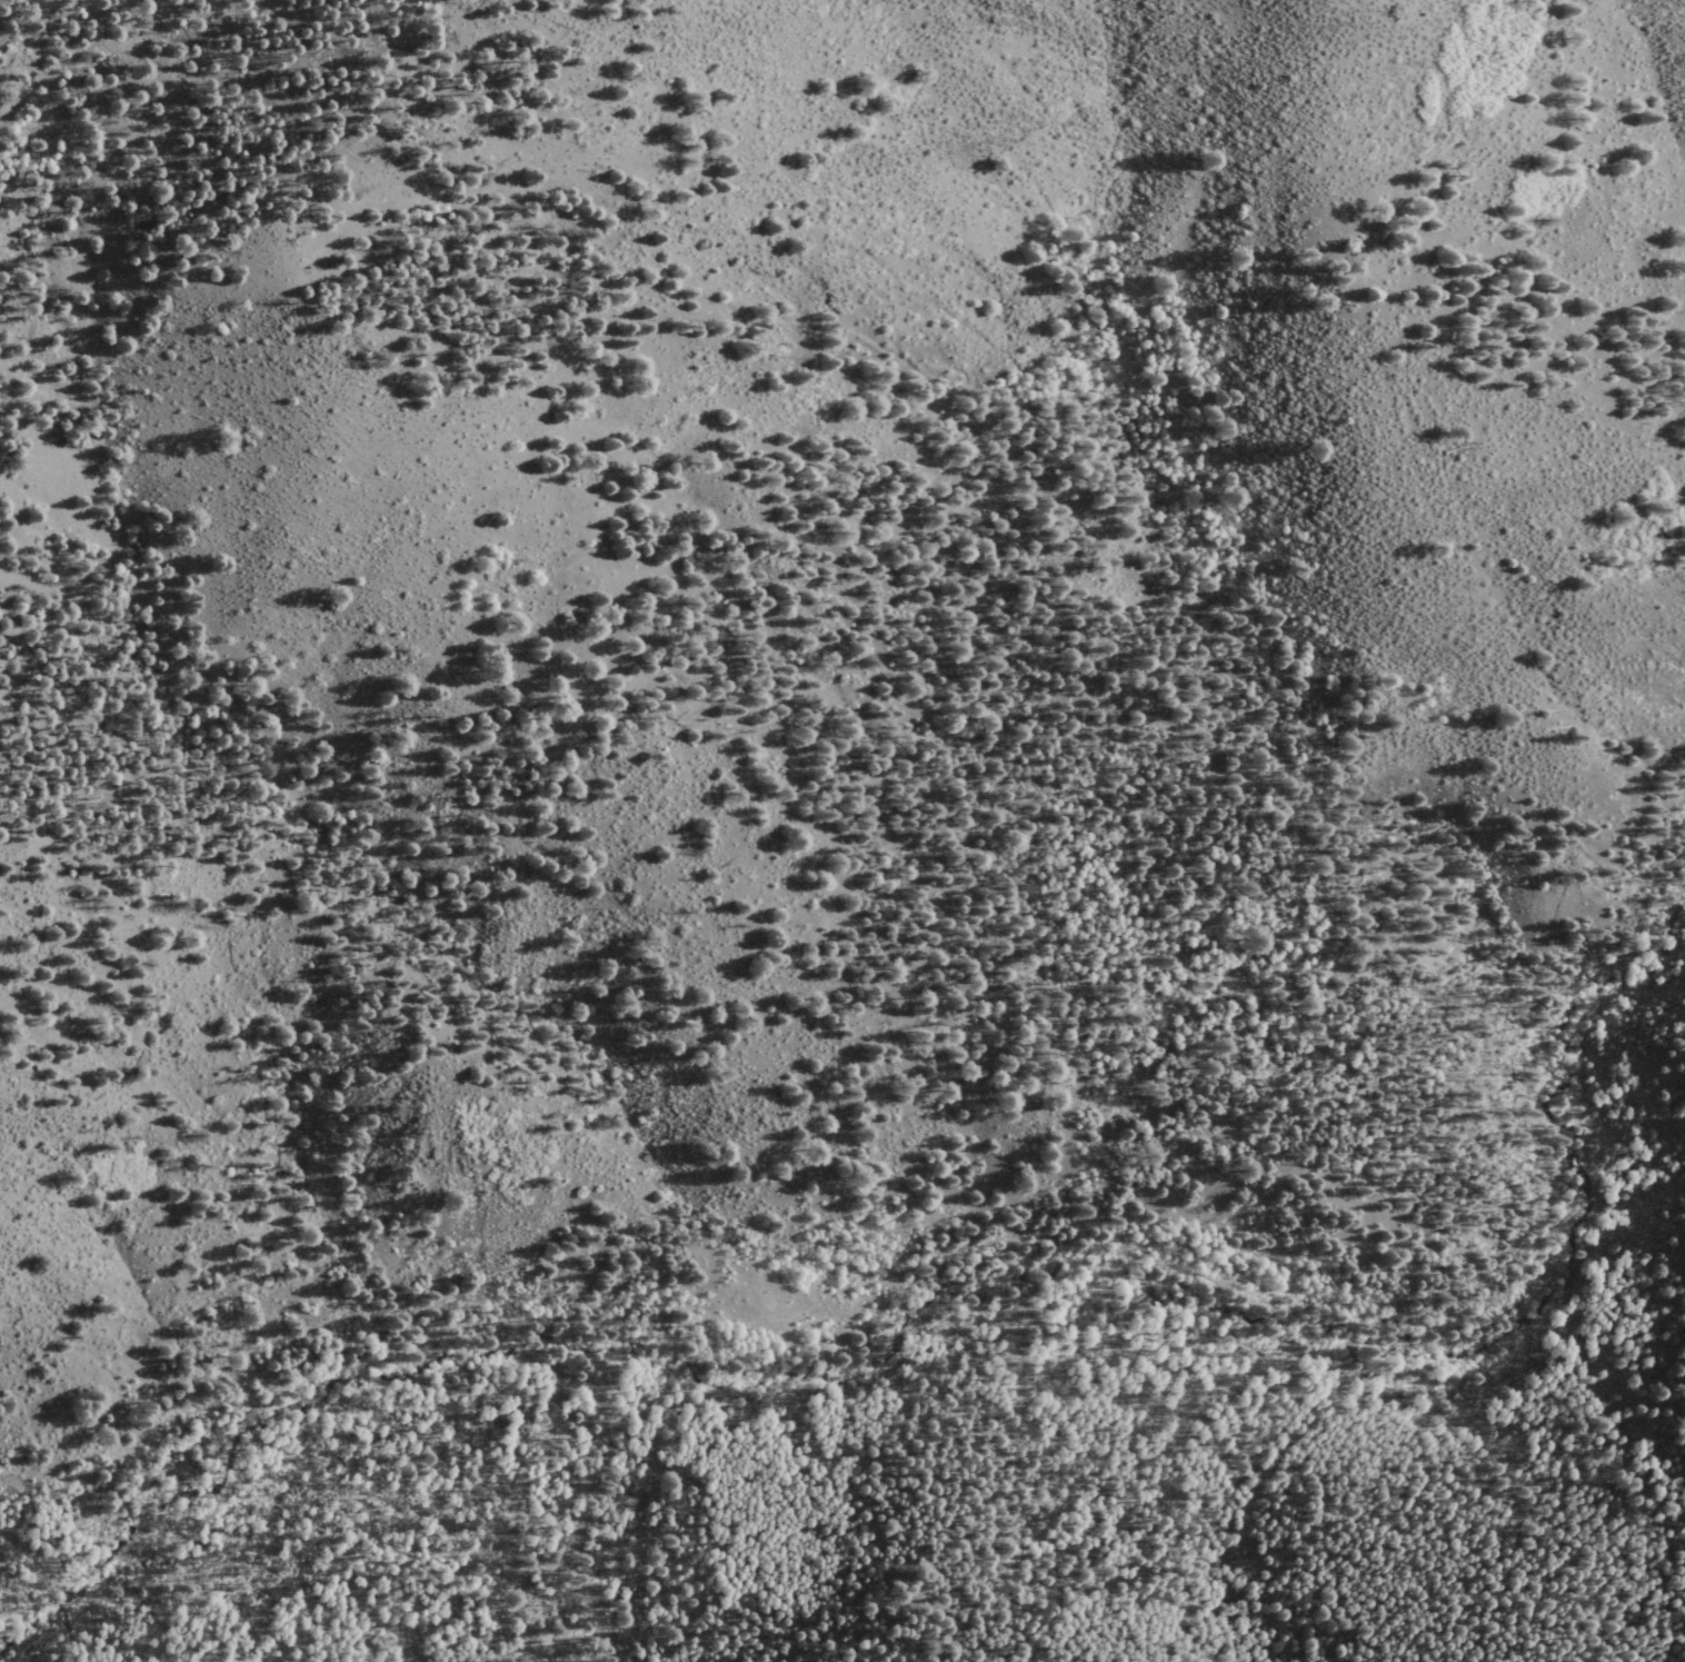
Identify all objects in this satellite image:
road: (963, 1253)

